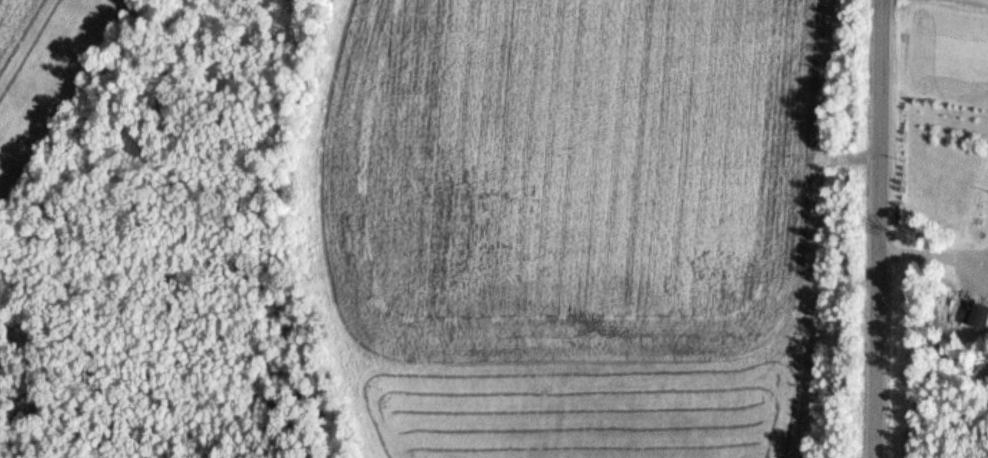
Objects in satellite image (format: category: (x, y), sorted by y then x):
road: (966, 4)
road: (885, 228)
road: (936, 254)
building: (980, 316)

